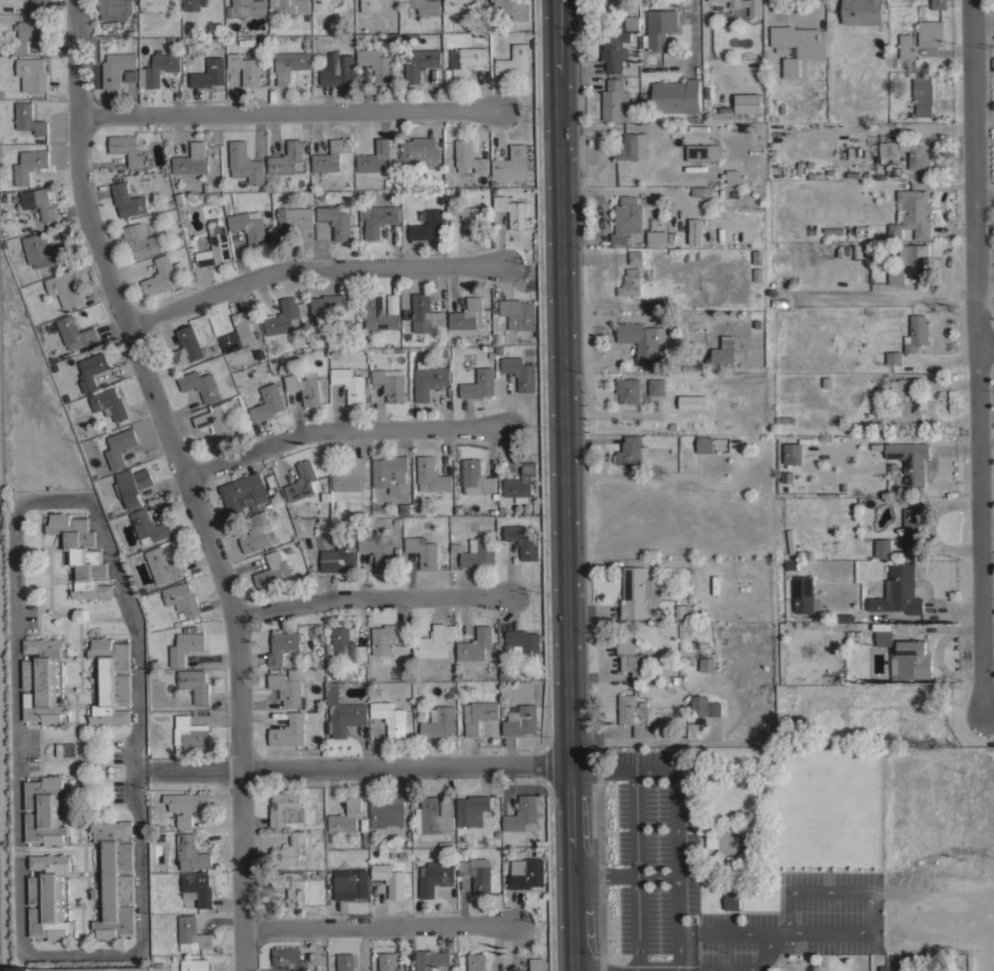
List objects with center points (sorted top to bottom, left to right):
building: (715, 0)
building: (38, 3)
building: (192, 4)
building: (939, 4)
building: (321, 5)
building: (368, 5)
building: (153, 6)
building: (290, 6)
building: (425, 6)
building: (457, 6)
building: (246, 8)
building: (514, 8)
building: (587, 8)
building: (115, 9)
building: (859, 11)
building: (755, 12)
road: (797, 16)
building: (632, 22)
building: (660, 28)
building: (931, 33)
building: (28, 34)
road: (694, 35)
building: (391, 38)
building: (798, 45)
building: (907, 46)
building: (614, 49)
building: (466, 60)
building: (515, 60)
building: (420, 63)
building: (290, 64)
building: (377, 64)
building: (117, 68)
building: (246, 68)
building: (158, 69)
building: (338, 69)
building: (209, 73)
building: (32, 74)
building: (131, 75)
building: (922, 94)
building: (677, 96)
building: (616, 101)
building: (747, 103)
road: (286, 113)
building: (29, 118)
building: (633, 147)
building: (127, 149)
building: (887, 150)
building: (417, 151)
building: (703, 152)
building: (915, 154)
building: (329, 157)
building: (469, 157)
building: (286, 158)
building: (376, 158)
building: (192, 160)
building: (245, 163)
building: (511, 163)
building: (29, 164)
building: (733, 176)
building: (702, 191)
building: (129, 201)
building: (39, 202)
building: (512, 211)
building: (466, 215)
building: (913, 215)
building: (293, 219)
building: (337, 219)
building: (380, 220)
building: (626, 220)
building: (428, 224)
building: (249, 227)
building: (693, 231)
building: (658, 238)
building: (141, 240)
building: (214, 250)
building: (858, 250)
building: (44, 251)
building: (635, 257)
building: (758, 257)
building: (915, 259)
road: (309, 270)
building: (160, 275)
building: (897, 276)
building: (631, 283)
building: (65, 289)
building: (392, 303)
building: (325, 307)
building: (518, 313)
building: (379, 314)
building: (426, 314)
building: (468, 315)
building: (285, 316)
building: (239, 332)
building: (75, 333)
building: (917, 333)
building: (642, 340)
building: (757, 342)
road: (984, 344)
building: (188, 346)
building: (724, 353)
road: (975, 356)
building: (894, 357)
building: (91, 370)
building: (520, 372)
building: (429, 379)
building: (351, 383)
building: (390, 383)
building: (479, 384)
building: (201, 385)
building: (656, 386)
building: (305, 387)
building: (628, 390)
building: (691, 401)
building: (109, 403)
building: (268, 403)
building: (905, 403)
building: (215, 420)
road: (342, 432)
building: (705, 444)
building: (119, 447)
building: (631, 450)
building: (792, 453)
building: (807, 454)
building: (910, 460)
building: (390, 472)
building: (349, 475)
building: (431, 475)
building: (476, 477)
road: (188, 478)
building: (301, 482)
building: (521, 483)
building: (132, 485)
road: (565, 485)
building: (244, 493)
building: (406, 508)
building: (149, 527)
building: (914, 527)
building: (258, 532)
building: (523, 540)
building: (882, 548)
building: (378, 551)
building: (423, 551)
building: (477, 551)
building: (82, 555)
building: (338, 557)
building: (163, 565)
building: (272, 571)
building: (899, 591)
building: (635, 592)
building: (805, 595)
building: (182, 598)
road: (370, 598)
building: (684, 612)
building: (844, 617)
building: (386, 637)
building: (434, 641)
building: (347, 644)
building: (476, 644)
building: (524, 644)
building: (184, 646)
building: (283, 647)
building: (904, 654)
building: (632, 656)
building: (707, 664)
building: (111, 680)
building: (42, 681)
building: (195, 684)
building: (287, 689)
building: (705, 706)
building: (344, 713)
building: (479, 714)
building: (636, 716)
building: (390, 717)
building: (521, 720)
building: (439, 721)
road: (18, 727)
building: (289, 731)
building: (190, 733)
road: (136, 744)
road: (404, 768)
road: (187, 771)
building: (187, 805)
parking lot: (655, 807)
building: (286, 808)
building: (472, 809)
building: (44, 810)
building: (385, 810)
building: (523, 814)
building: (435, 815)
building: (346, 816)
building: (731, 823)
building: (718, 829)
building: (745, 829)
building: (713, 842)
building: (751, 842)
road: (675, 849)
building: (290, 850)
building: (191, 853)
building: (718, 855)
building: (745, 855)
building: (732, 861)
road: (636, 869)
building: (477, 873)
road: (604, 873)
building: (529, 874)
building: (436, 876)
building: (391, 877)
building: (115, 880)
building: (351, 885)
building: (293, 886)
building: (197, 888)
building: (48, 897)
building: (732, 900)
road: (870, 919)
road: (378, 925)
road: (726, 931)
building: (192, 934)
building: (290, 958)
building: (434, 960)
building: (388, 961)
building: (345, 962)
building: (477, 962)
building: (538, 964)
building: (195, 965)
building: (85, 968)
building: (894, 968)
road: (675, 970)

